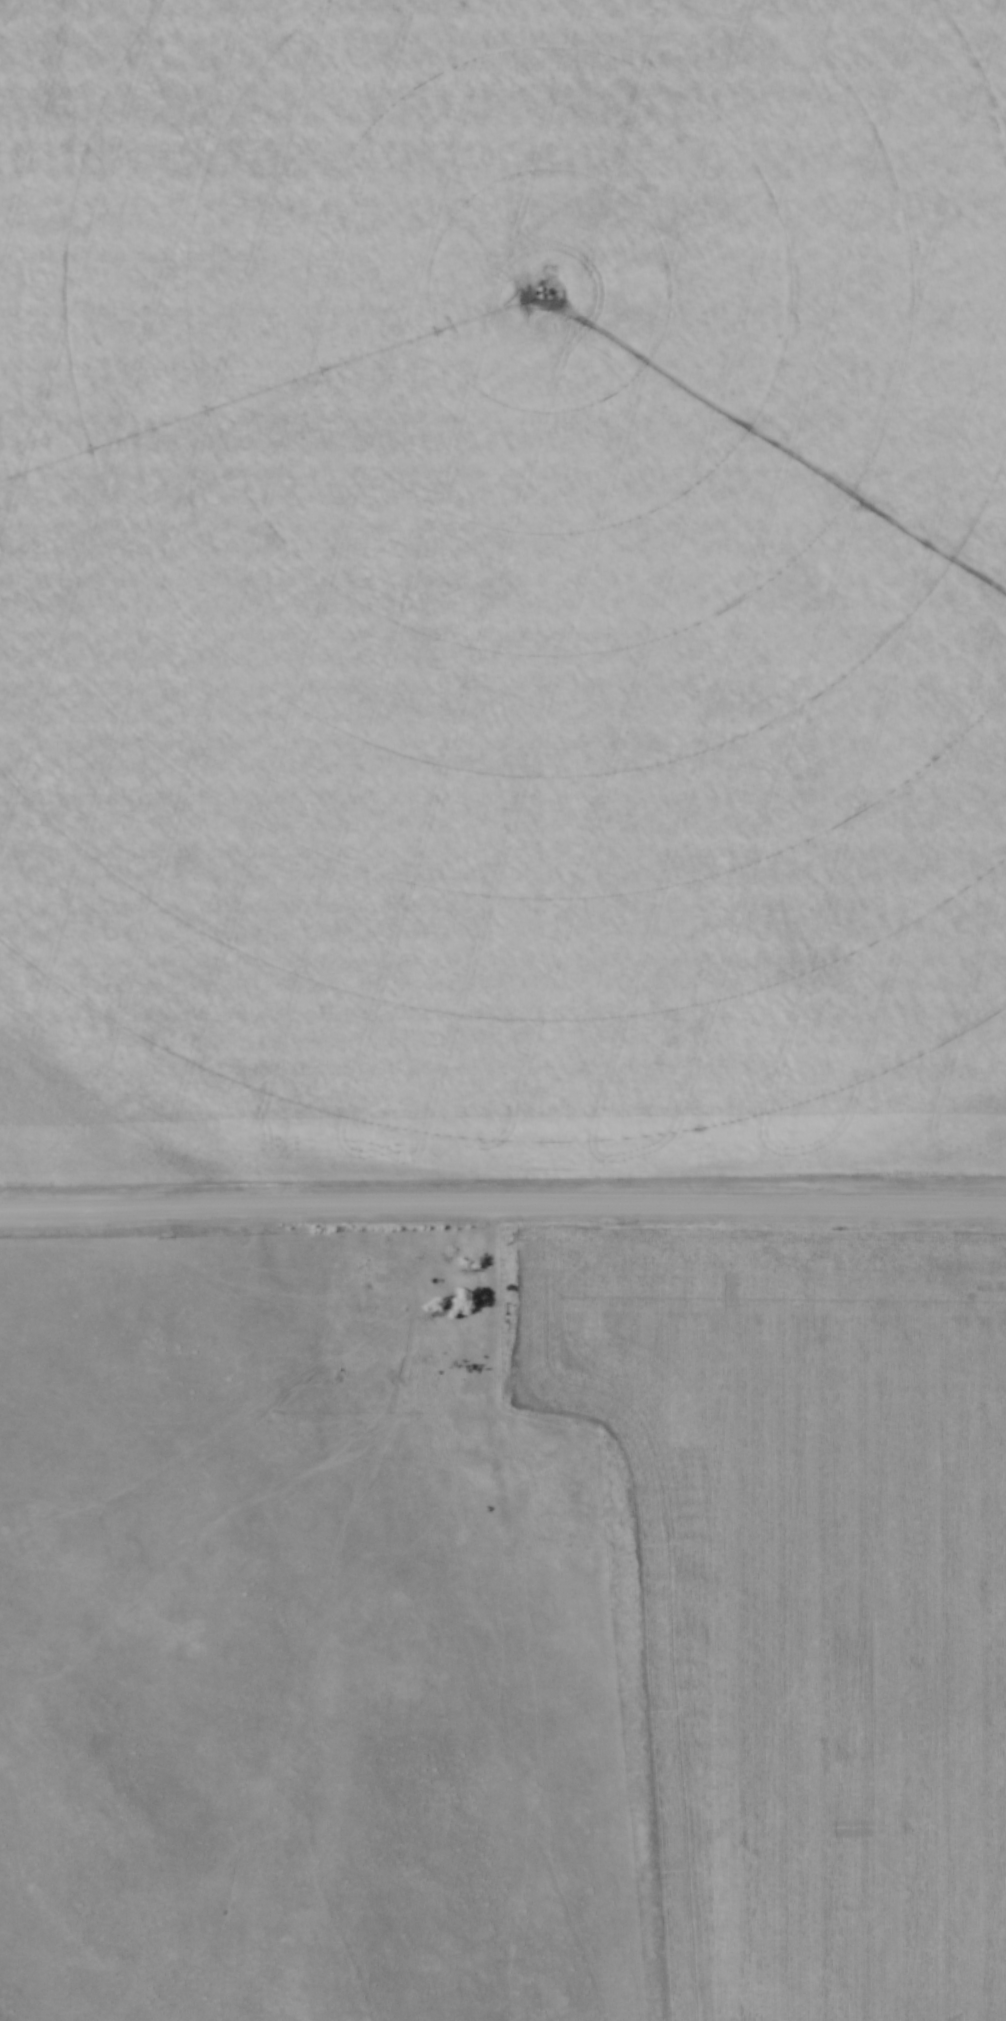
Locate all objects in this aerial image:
road: (502, 1201)

